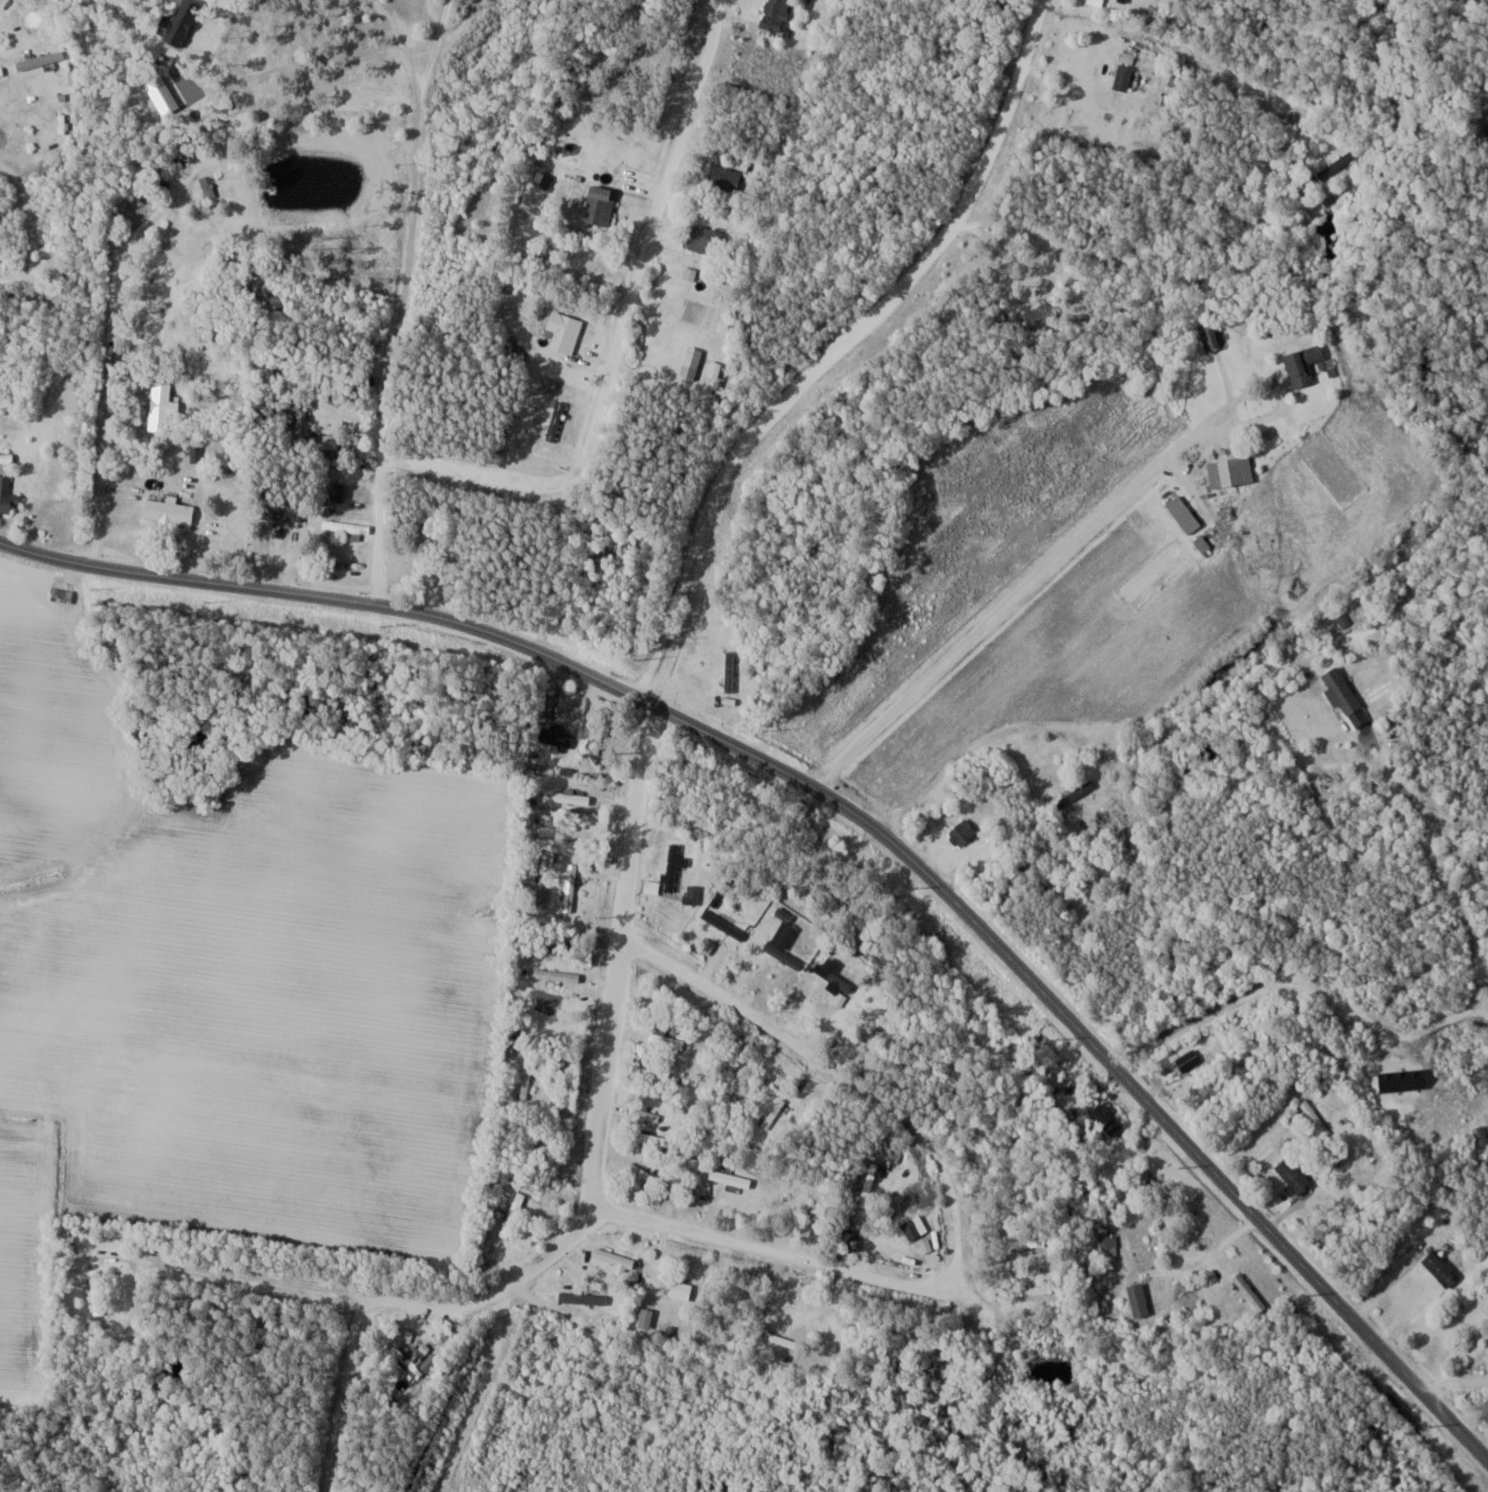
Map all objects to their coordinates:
building: (778, 11)
road: (21, 43)
building: (1124, 77)
building: (1486, 129)
building: (1339, 164)
road: (416, 208)
building: (600, 211)
building: (174, 240)
building: (707, 241)
building: (1040, 315)
building: (565, 332)
building: (1212, 336)
road: (623, 340)
road: (839, 350)
road: (103, 363)
building: (1304, 366)
building: (161, 405)
building: (556, 422)
building: (6, 456)
building: (1231, 473)
building: (6, 494)
building: (169, 510)
building: (1184, 513)
building: (285, 515)
road: (390, 523)
building: (349, 528)
road: (1071, 543)
building: (1203, 543)
building: (62, 594)
building: (730, 671)
building: (1341, 689)
building: (555, 731)
building: (1079, 791)
building: (576, 796)
road: (853, 813)
building: (963, 833)
building: (673, 866)
building: (785, 930)
building: (831, 972)
building: (558, 977)
building: (668, 1038)
building: (1189, 1059)
building: (526, 1081)
building: (1109, 1118)
building: (654, 1138)
building: (1294, 1176)
building: (730, 1178)
building: (510, 1214)
building: (913, 1228)
building: (1027, 1242)
building: (1109, 1244)
building: (1140, 1252)
road: (788, 1254)
building: (99, 1255)
building: (614, 1257)
road: (1180, 1268)
building: (1442, 1268)
road: (353, 1289)
building: (681, 1290)
building: (1040, 1290)
building: (96, 1291)
building: (1140, 1300)
building: (786, 1341)
building: (429, 1363)
road: (336, 1391)

